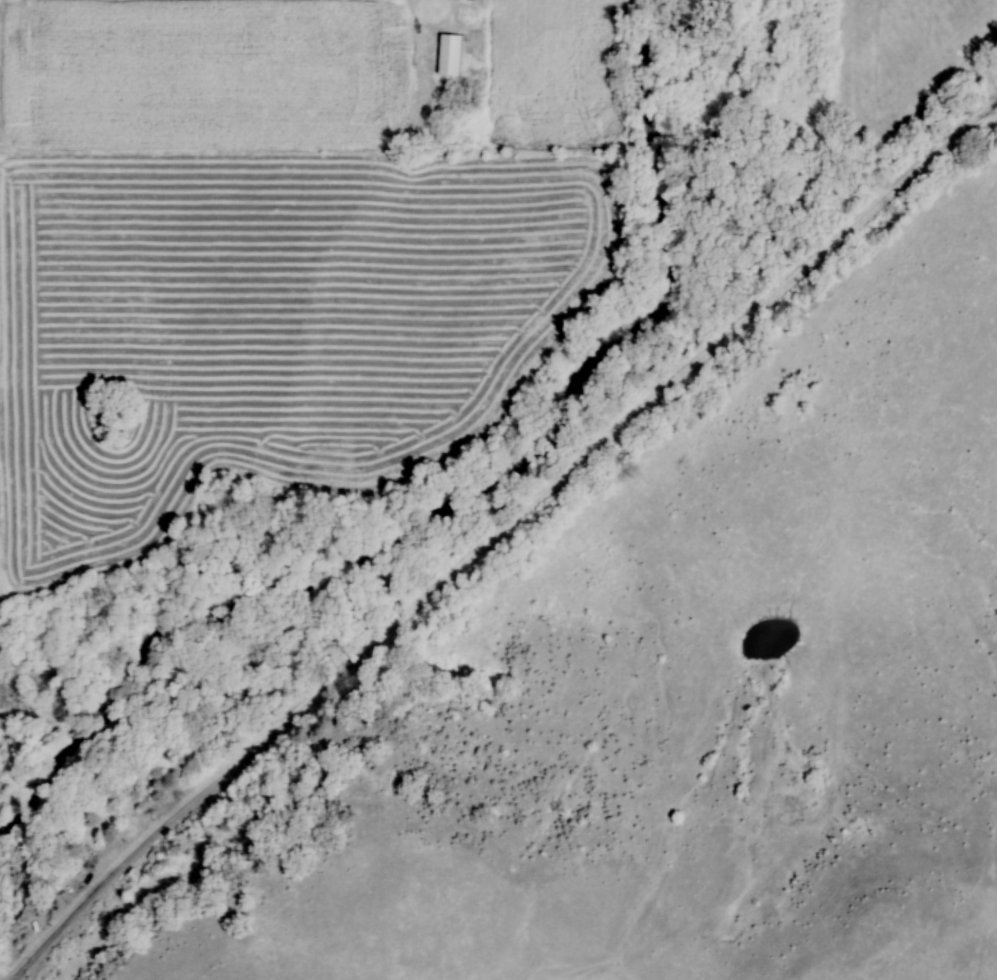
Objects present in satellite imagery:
building: (525, 3)
building: (451, 55)

